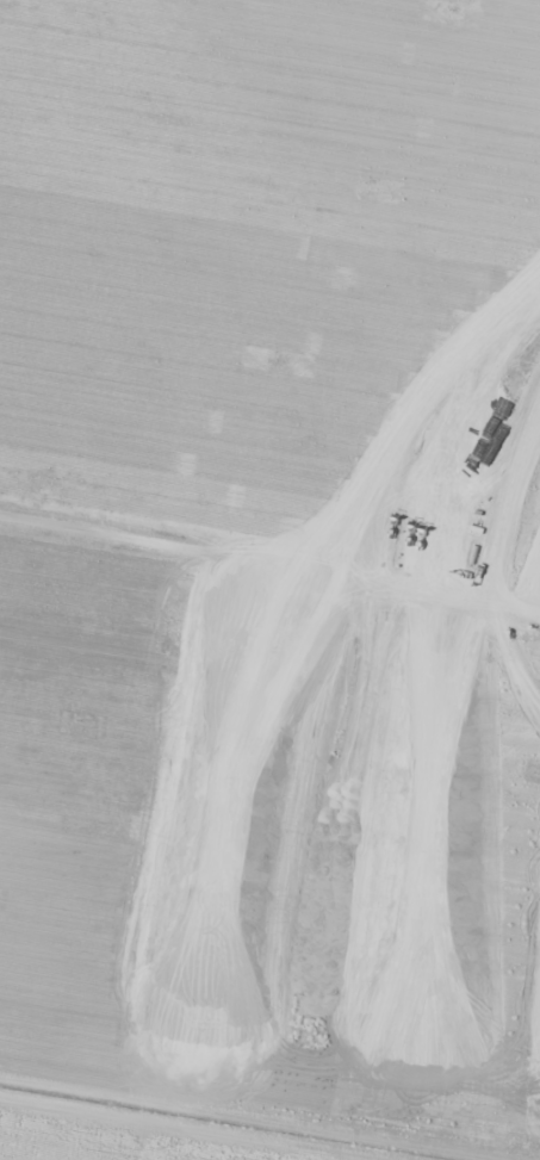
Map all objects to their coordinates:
landfill: (426, 590)
road: (162, 1130)

